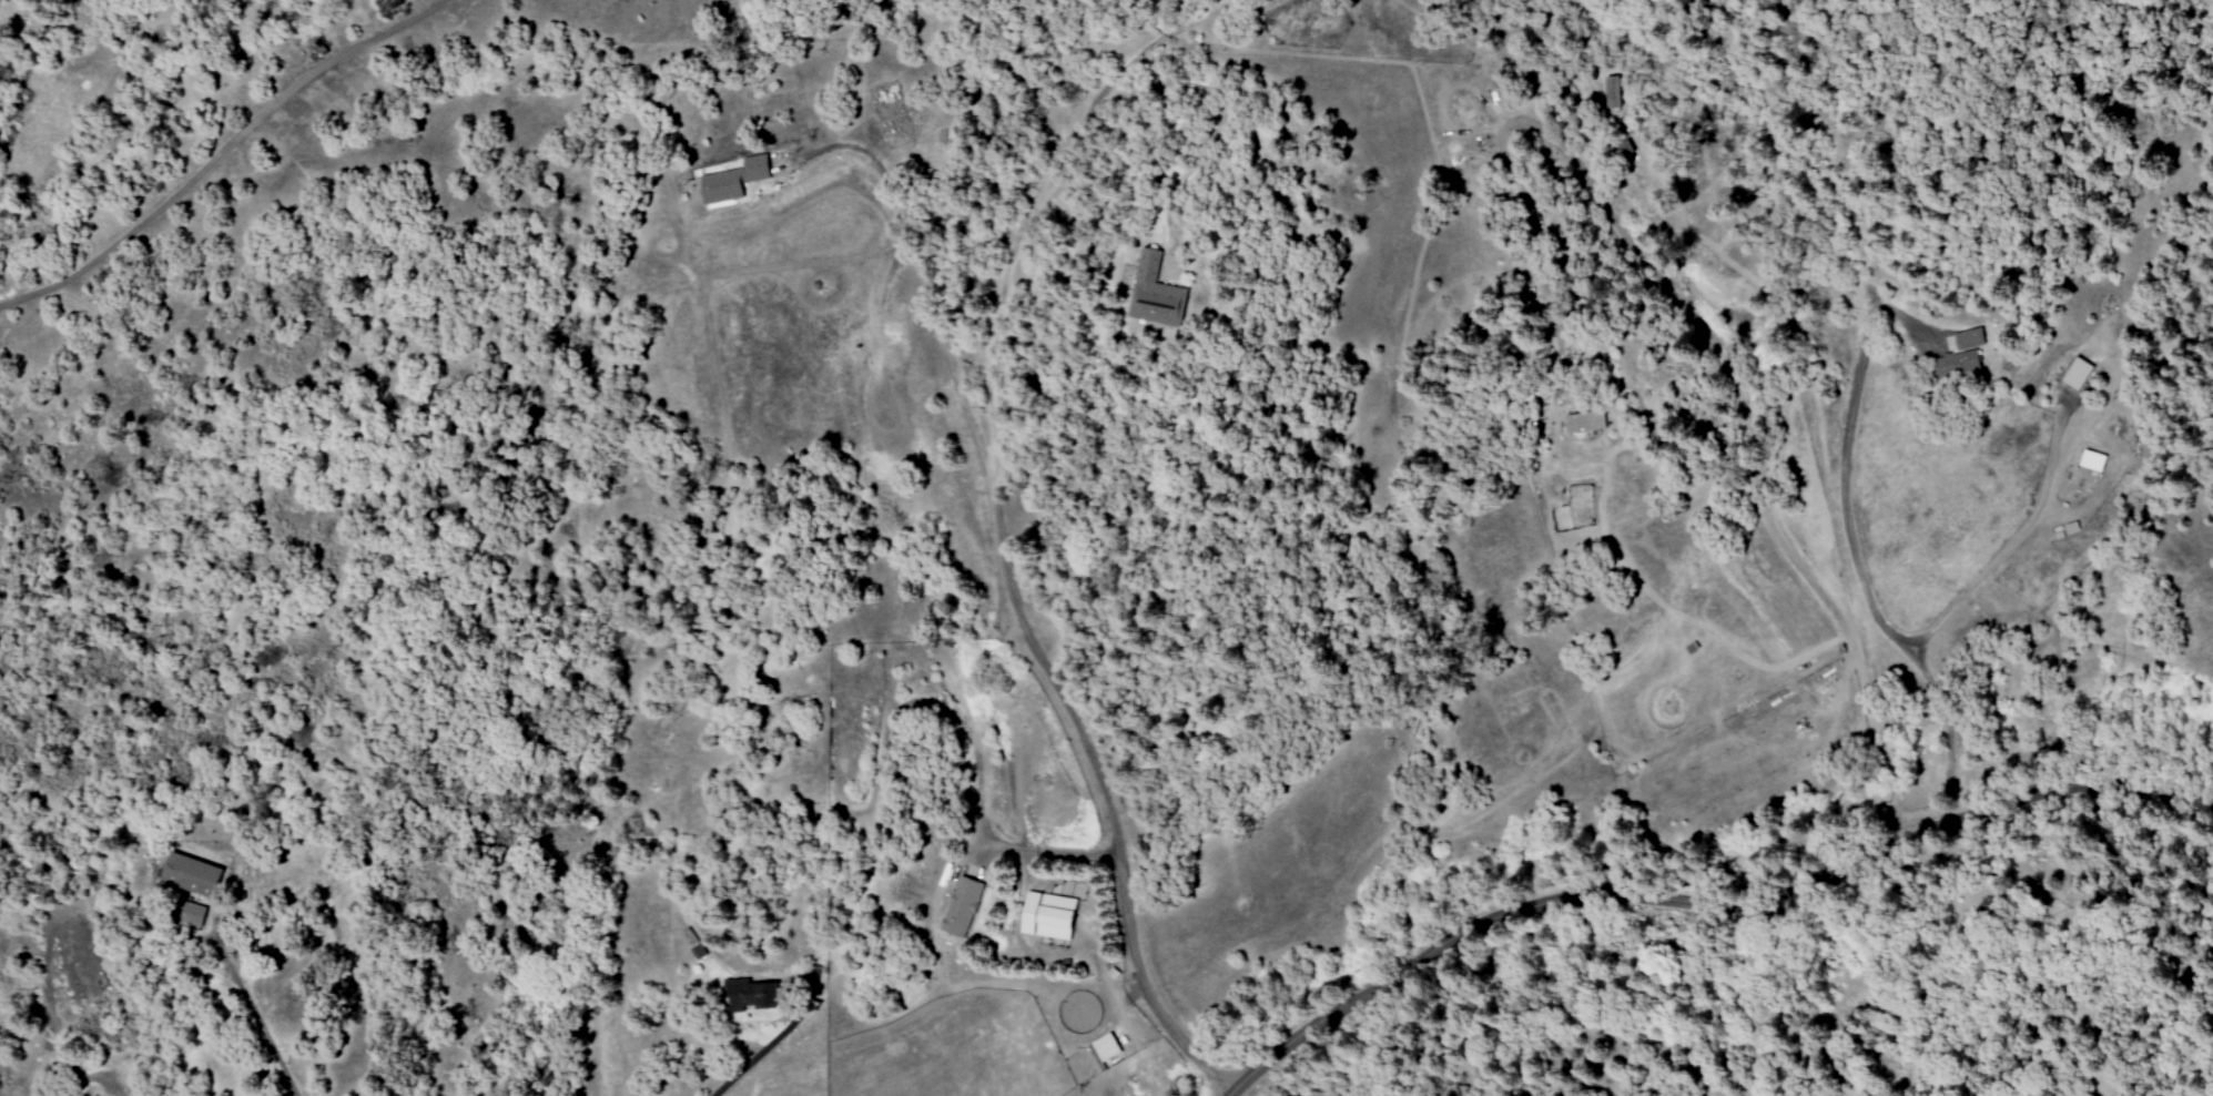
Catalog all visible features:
building: (1611, 92)
road: (219, 151)
building: (731, 181)
building: (1148, 293)
road: (1708, 333)
building: (1967, 339)
building: (1956, 364)
building: (2074, 374)
building: (1580, 423)
building: (2090, 461)
road: (2007, 550)
road: (1859, 569)
road: (1019, 612)
road: (993, 846)
building: (186, 874)
road: (1703, 903)
building: (960, 907)
building: (184, 915)
building: (1046, 916)
building: (696, 952)
building: (744, 996)
building: (1102, 1051)
road: (753, 1056)

